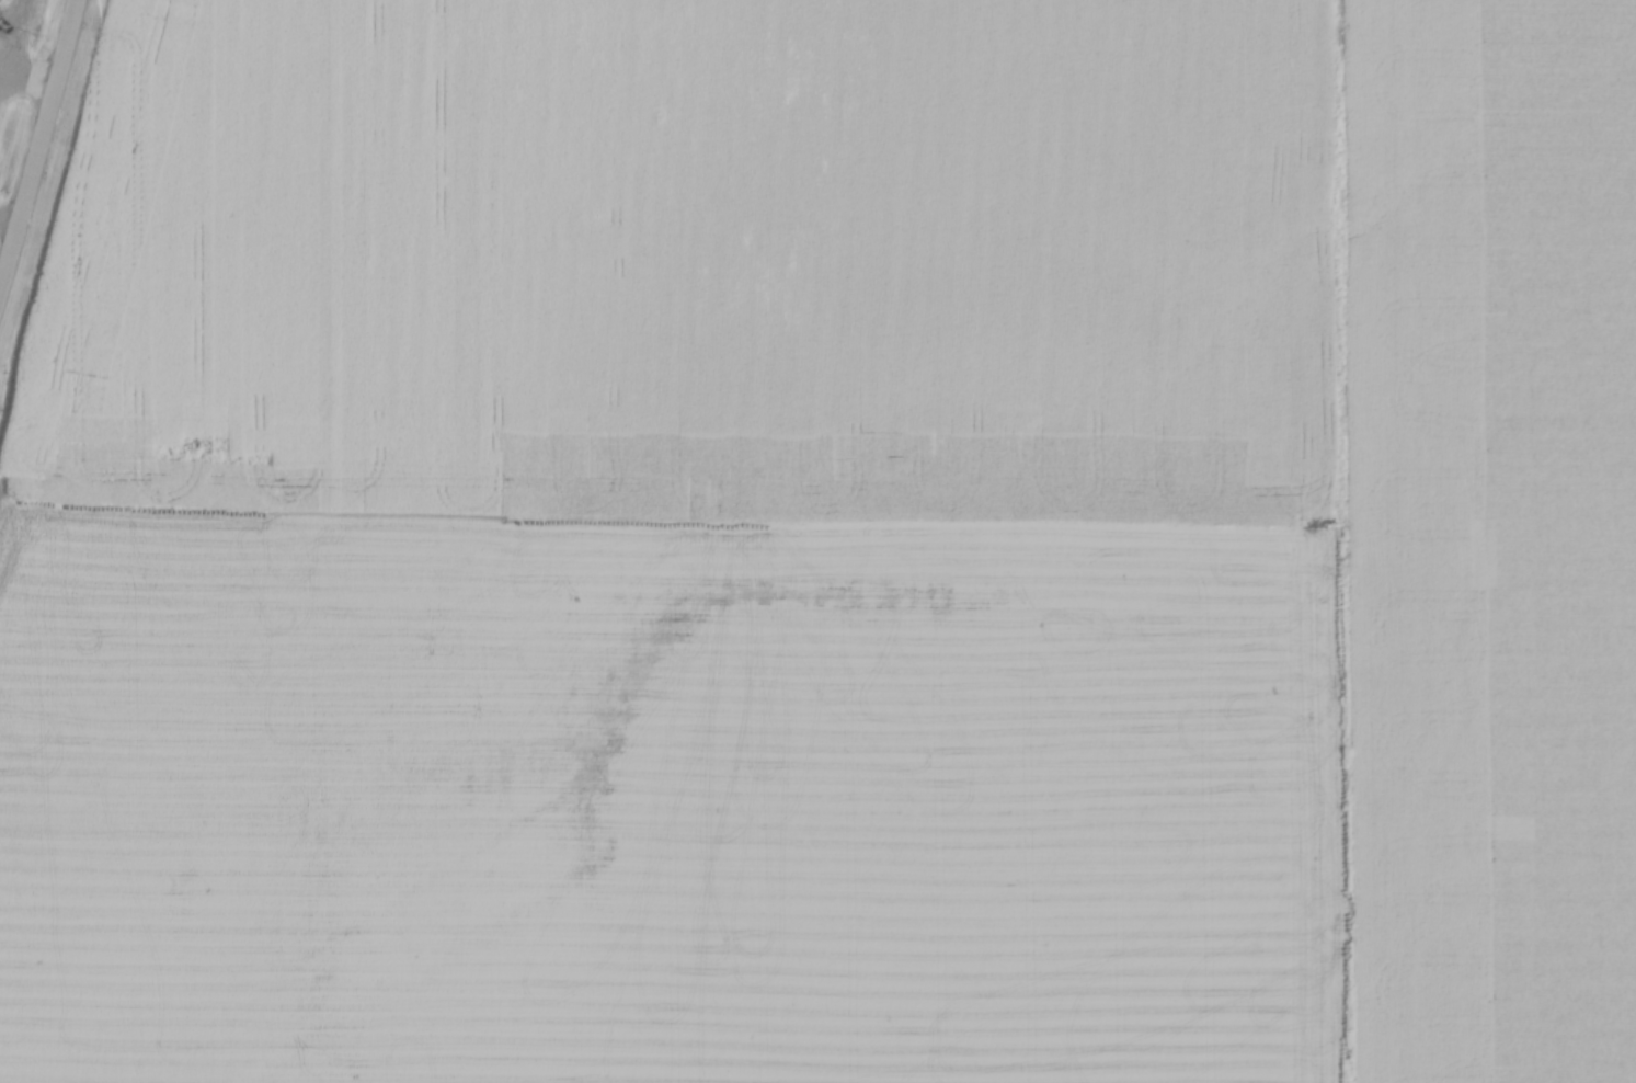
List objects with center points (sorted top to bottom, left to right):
road: (44, 146)

